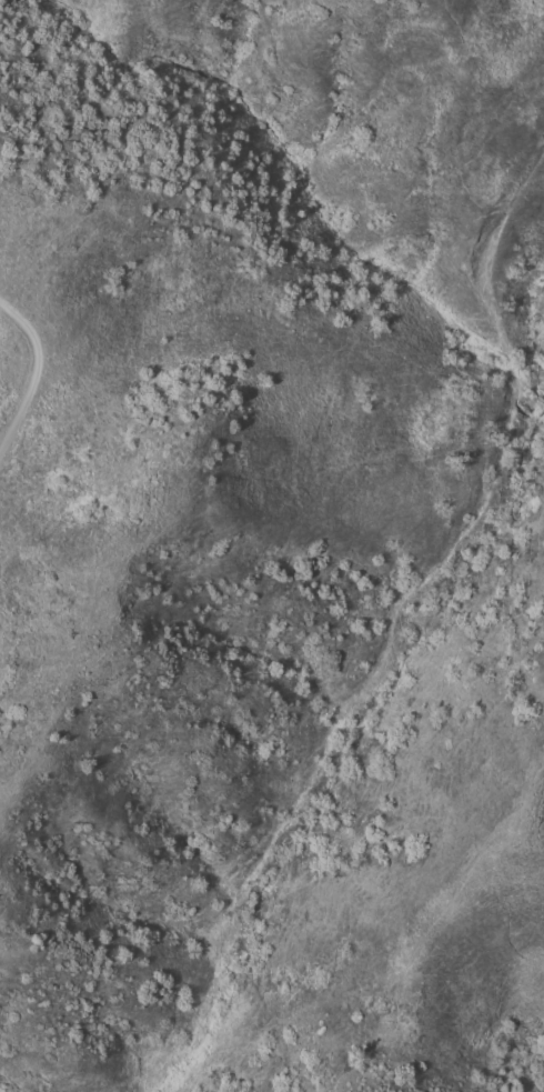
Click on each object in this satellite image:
road: (26, 374)

